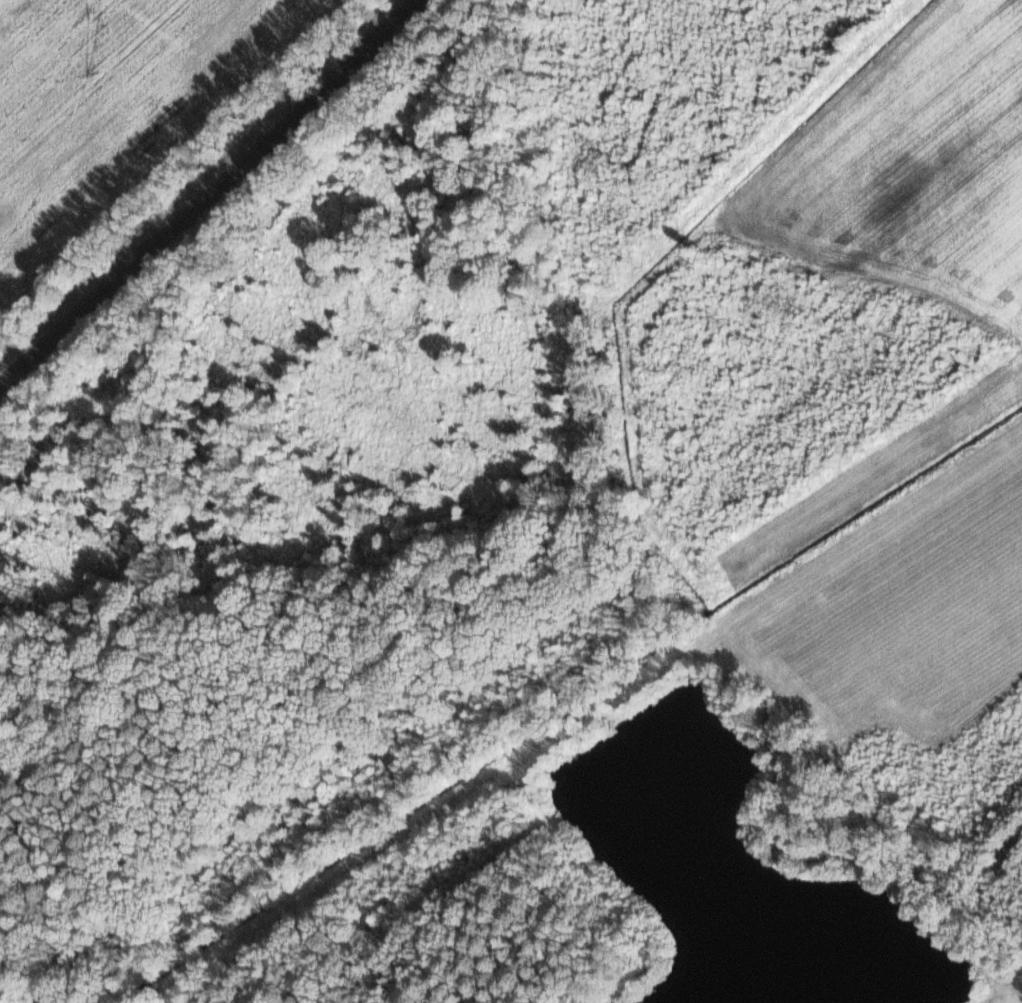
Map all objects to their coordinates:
railway: (210, 192)

